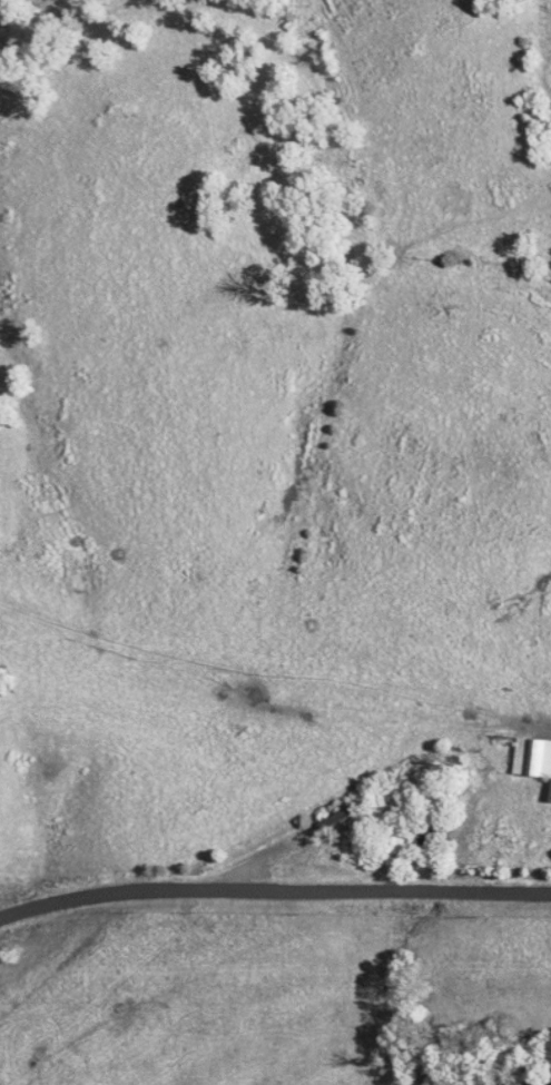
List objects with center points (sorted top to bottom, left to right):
road: (496, 730)
building: (534, 759)
road: (274, 895)

